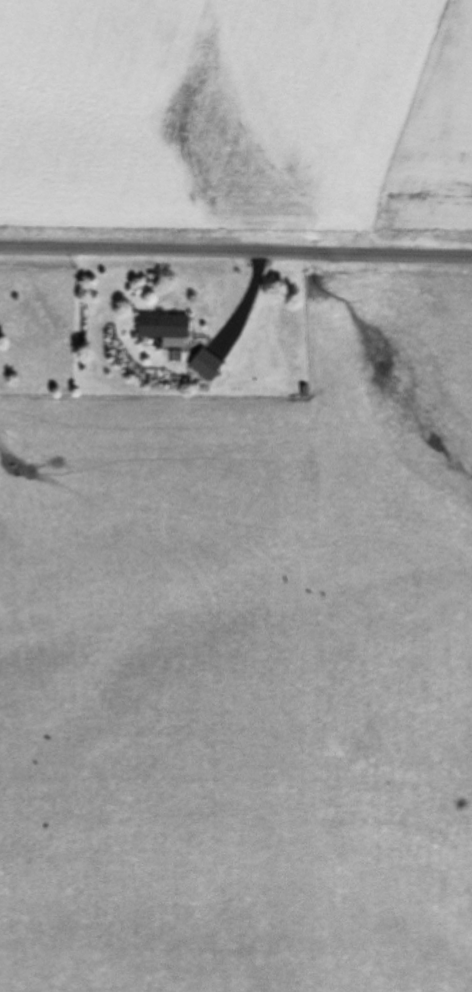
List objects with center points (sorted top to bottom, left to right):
road: (236, 248)
building: (161, 327)
building: (202, 364)

